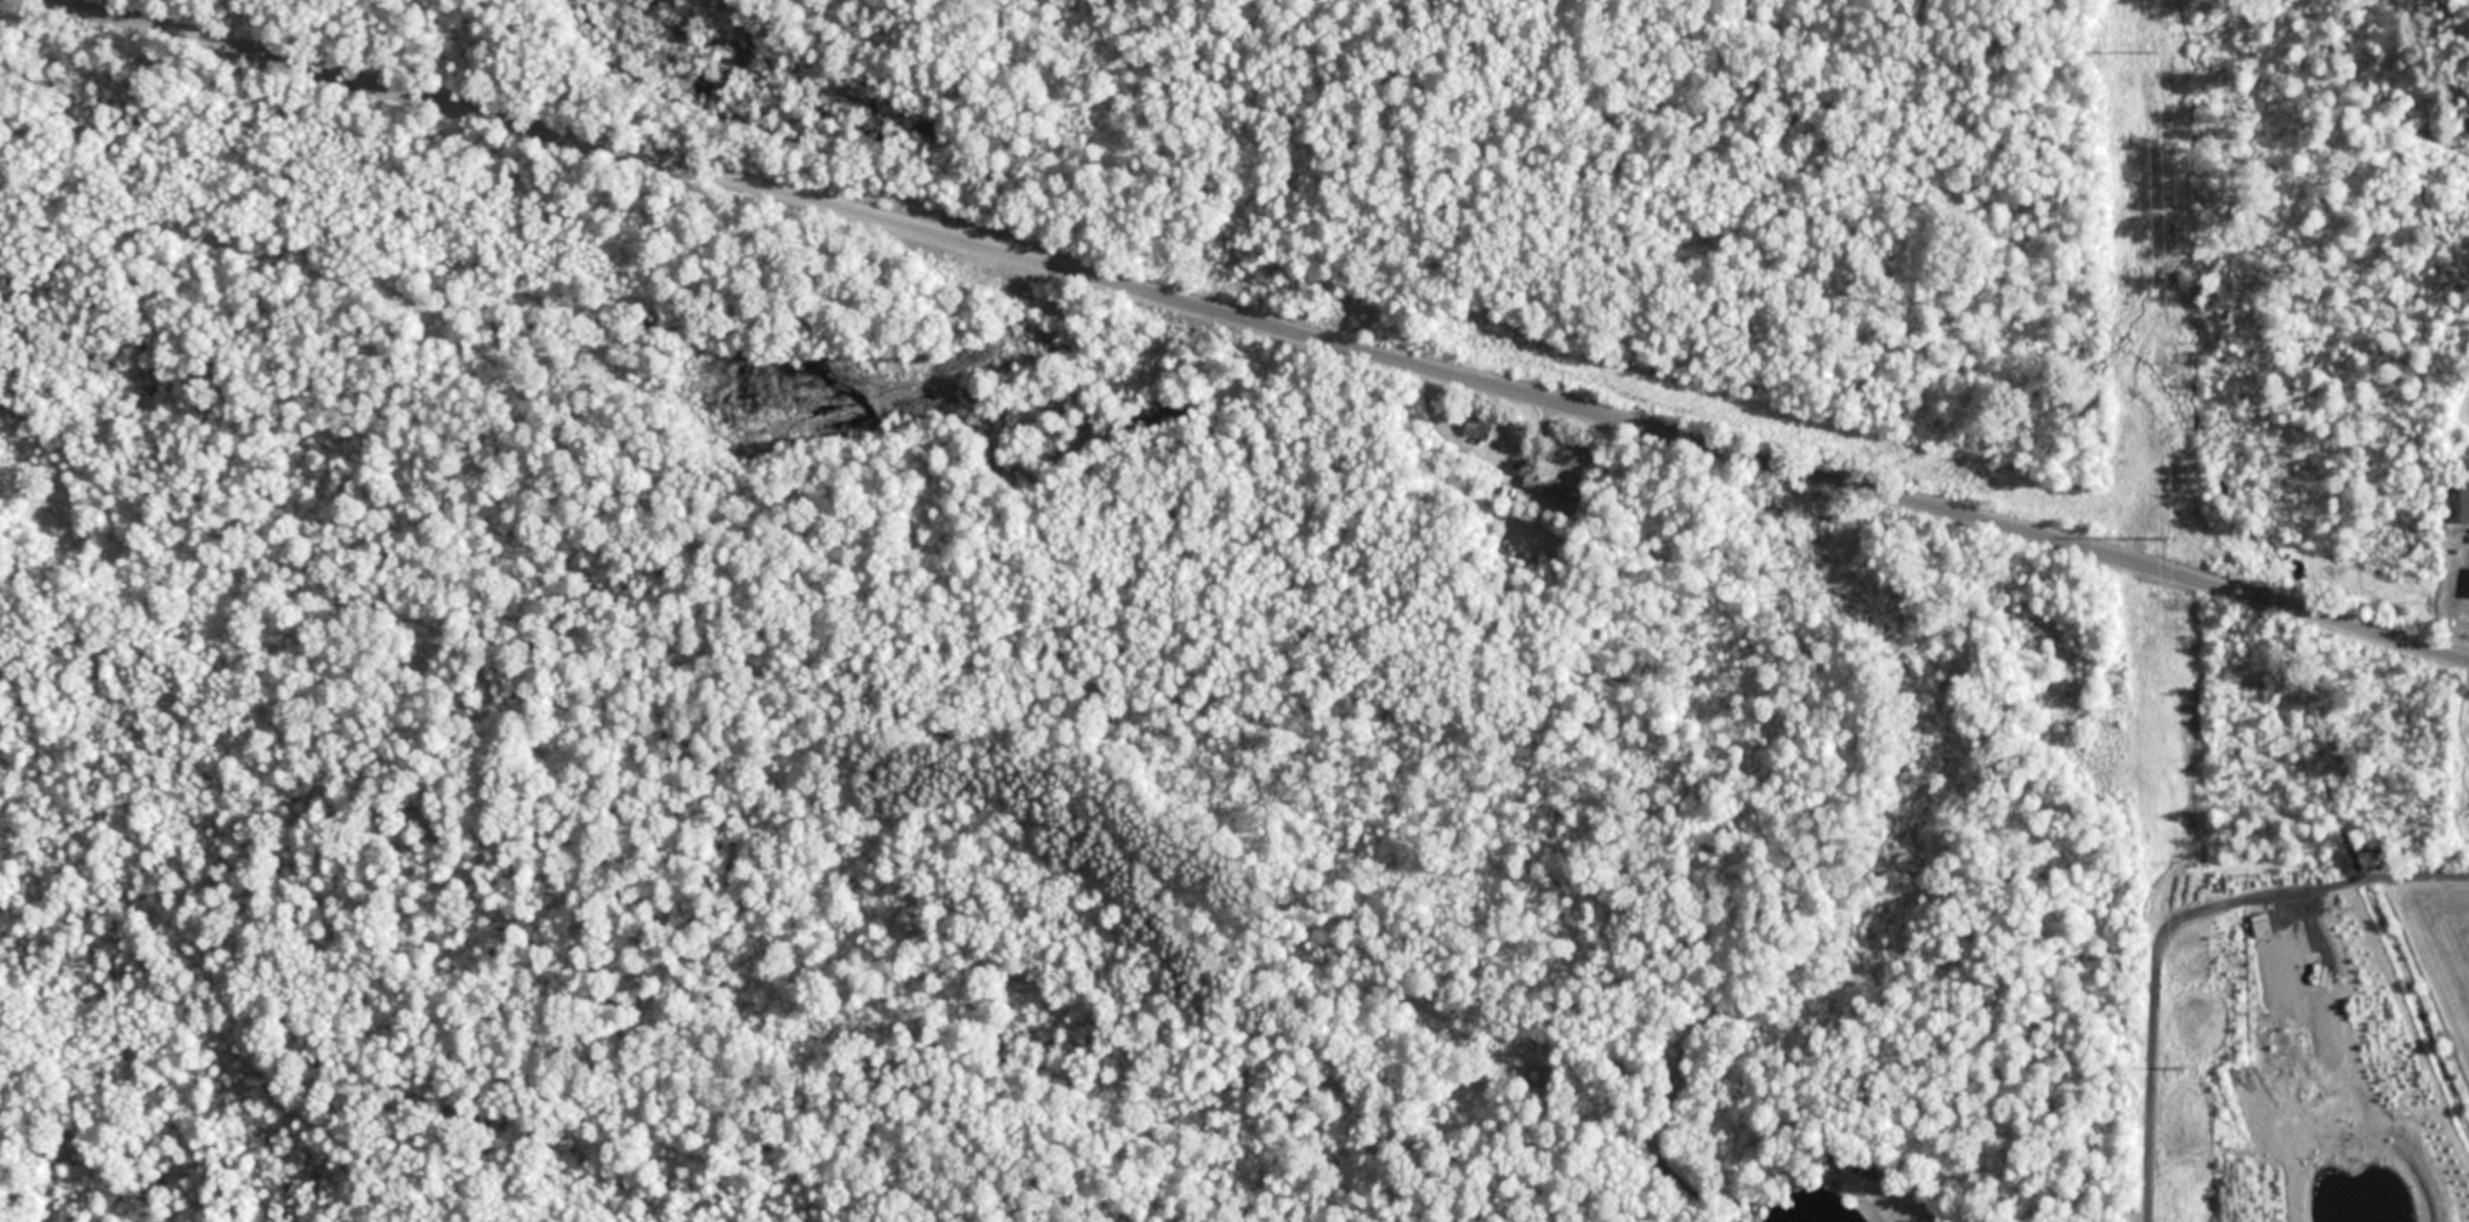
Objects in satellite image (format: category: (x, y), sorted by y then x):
power tower: (2156, 57)
road: (1262, 328)
building: (1476, 431)
building: (1549, 485)
building: (2463, 501)
power tower: (2169, 538)
park: (1086, 563)
power tower: (2181, 1068)

